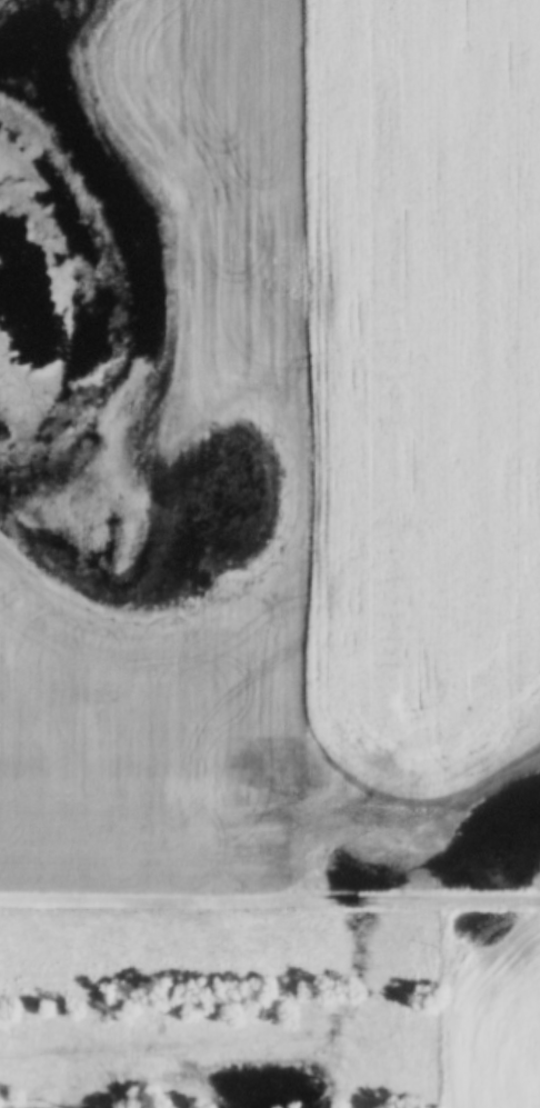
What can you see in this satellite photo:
road: (270, 906)

